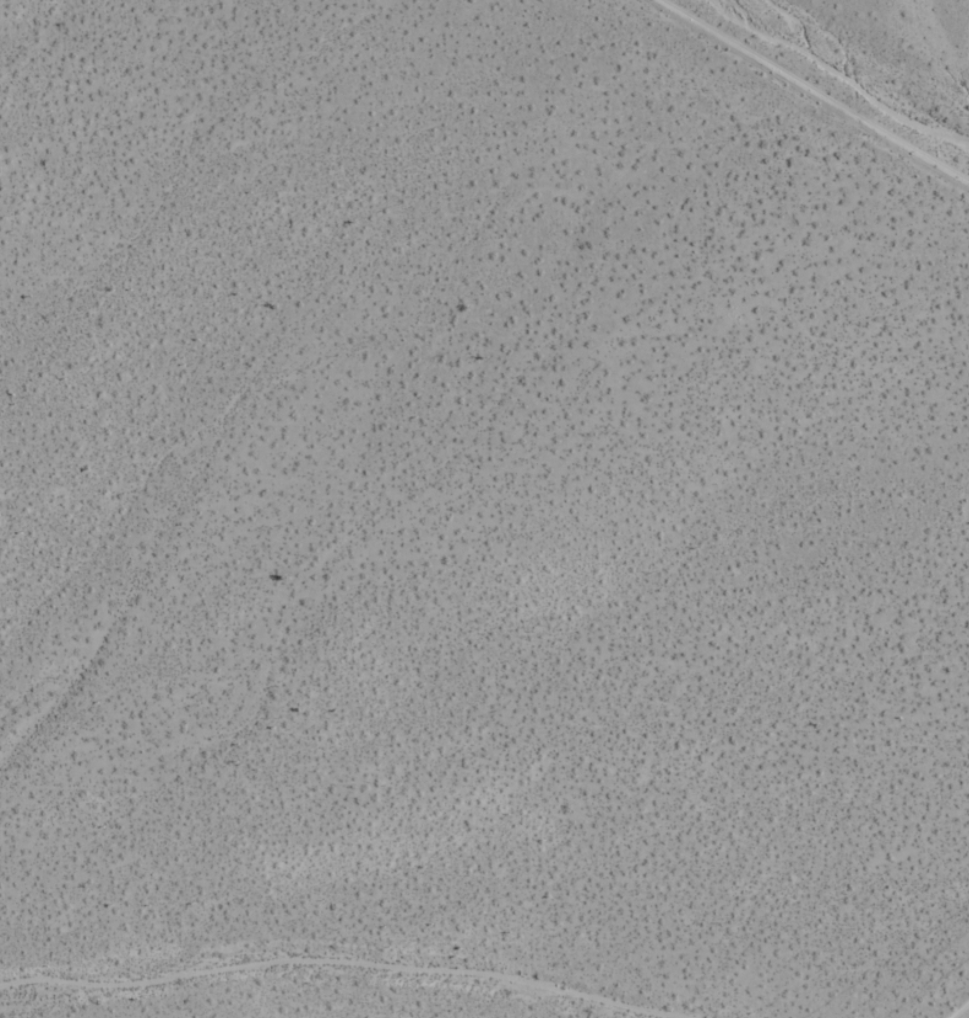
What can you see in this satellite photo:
road: (815, 90)

